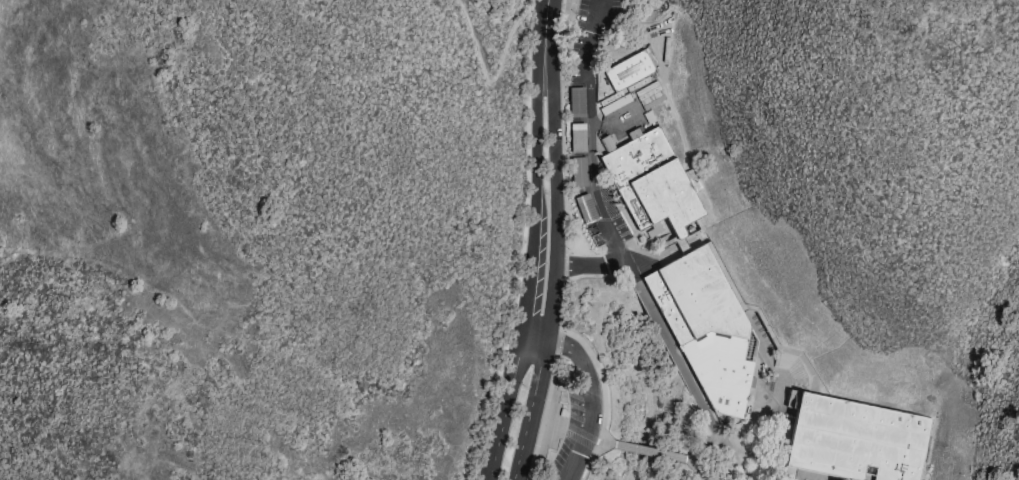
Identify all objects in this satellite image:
building: (624, 80)
road: (487, 87)
road: (586, 159)
building: (655, 186)
road: (555, 241)
road: (536, 242)
building: (706, 326)
road: (554, 361)
road: (603, 397)
road: (587, 403)
road: (733, 431)
building: (857, 441)
road: (644, 449)
road: (696, 469)
road: (722, 478)

